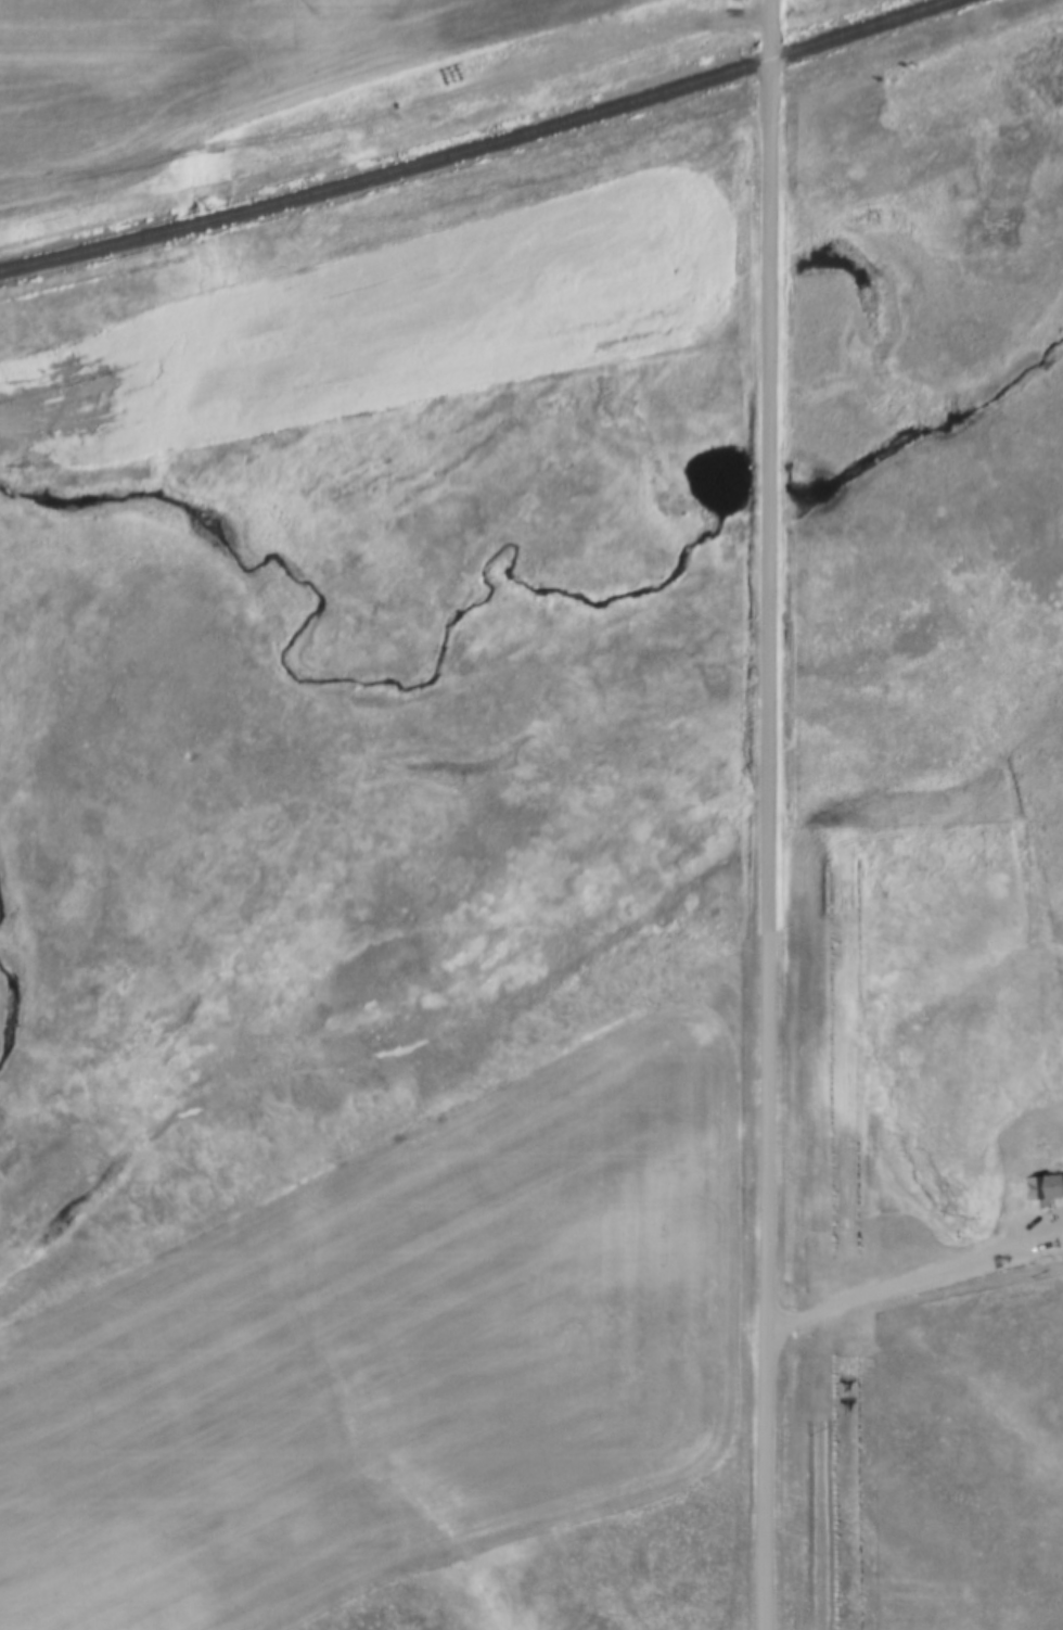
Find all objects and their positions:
railway: (468, 143)
road: (763, 815)
building: (1045, 1182)
road: (911, 1283)

